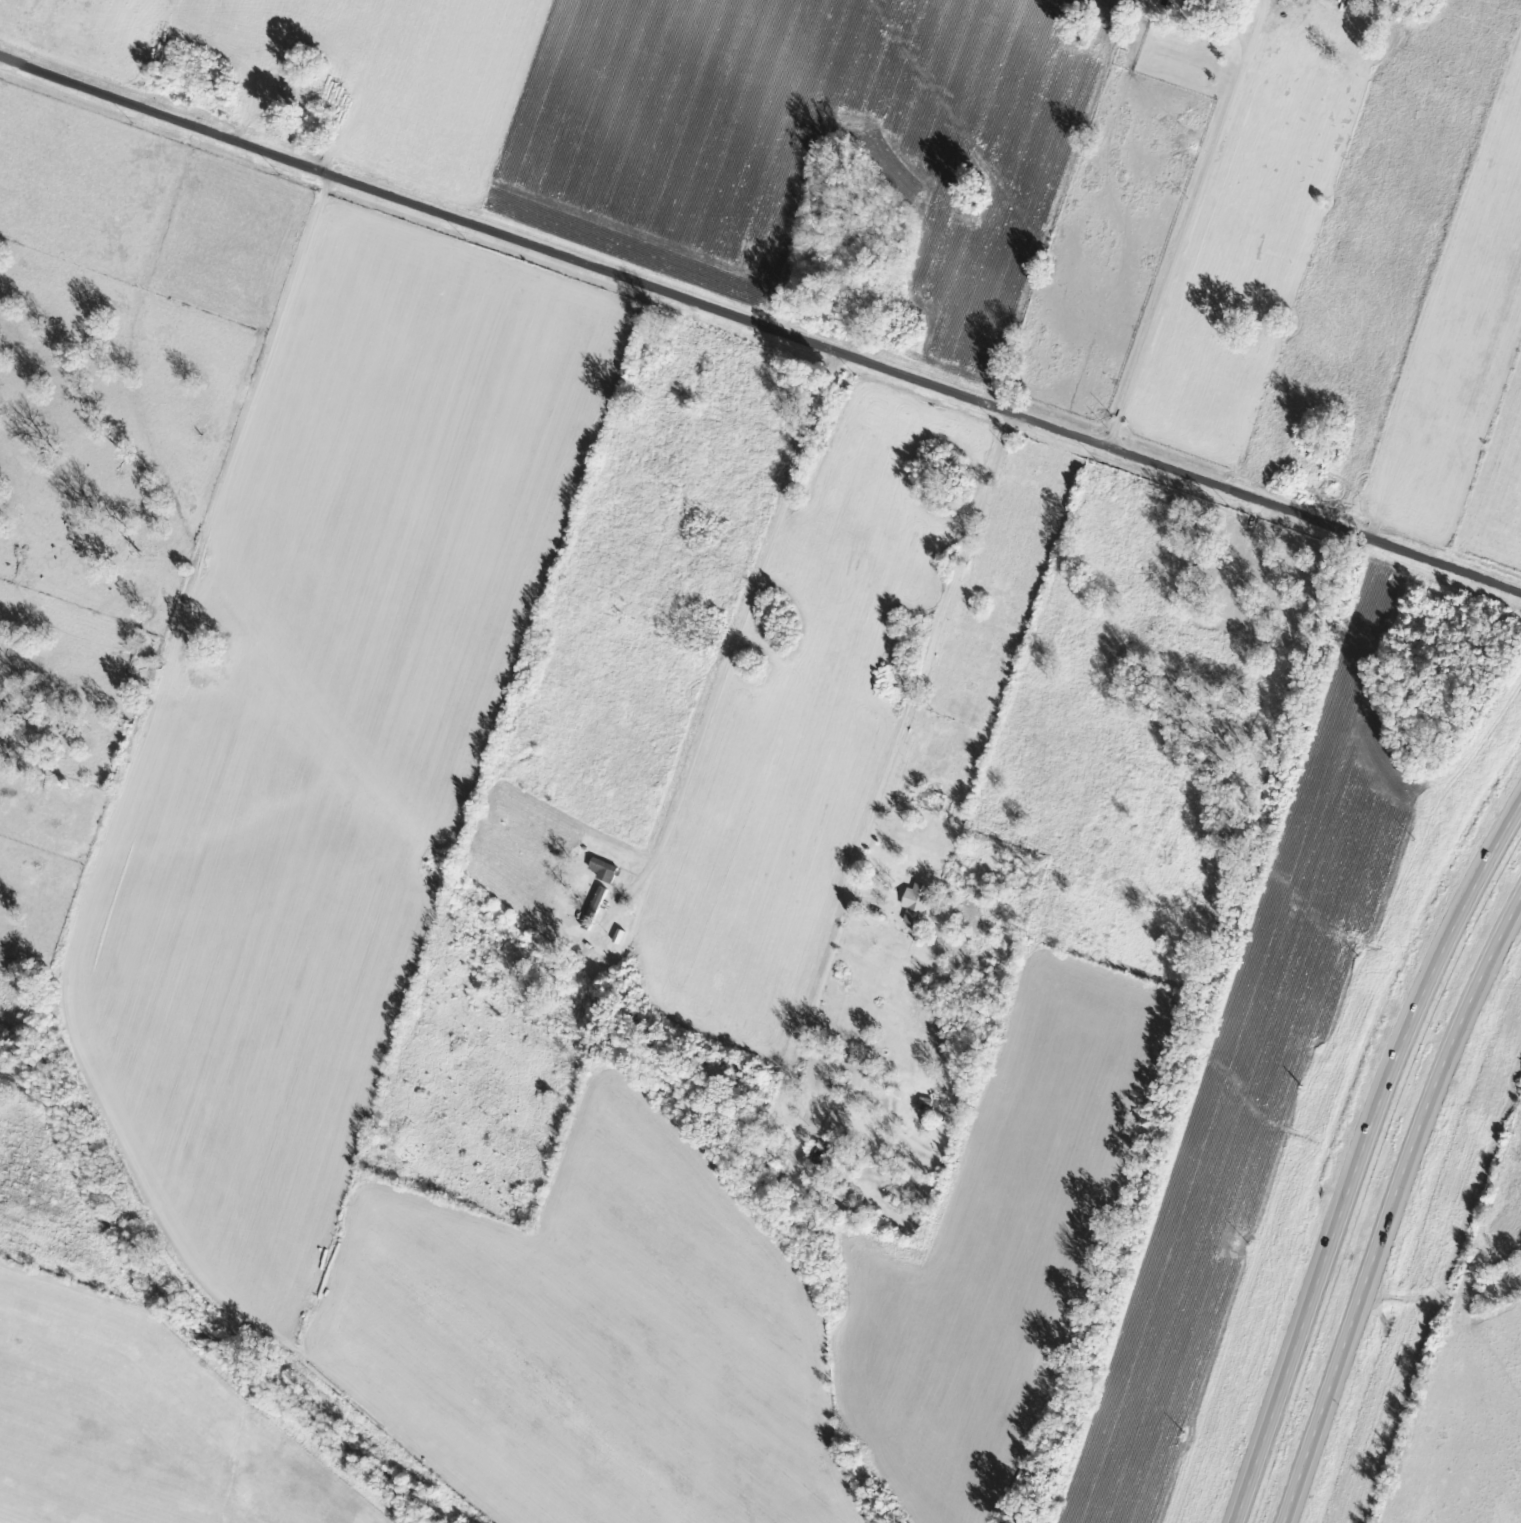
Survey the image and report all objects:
building: (1214, 0)
building: (323, 116)
road: (1188, 225)
road: (760, 319)
road: (748, 608)
building: (1242, 626)
road: (886, 775)
building: (604, 868)
building: (916, 902)
building: (583, 920)
building: (924, 1104)
building: (820, 1152)
road: (1360, 1155)
road: (1391, 1207)
road: (1345, 1273)

